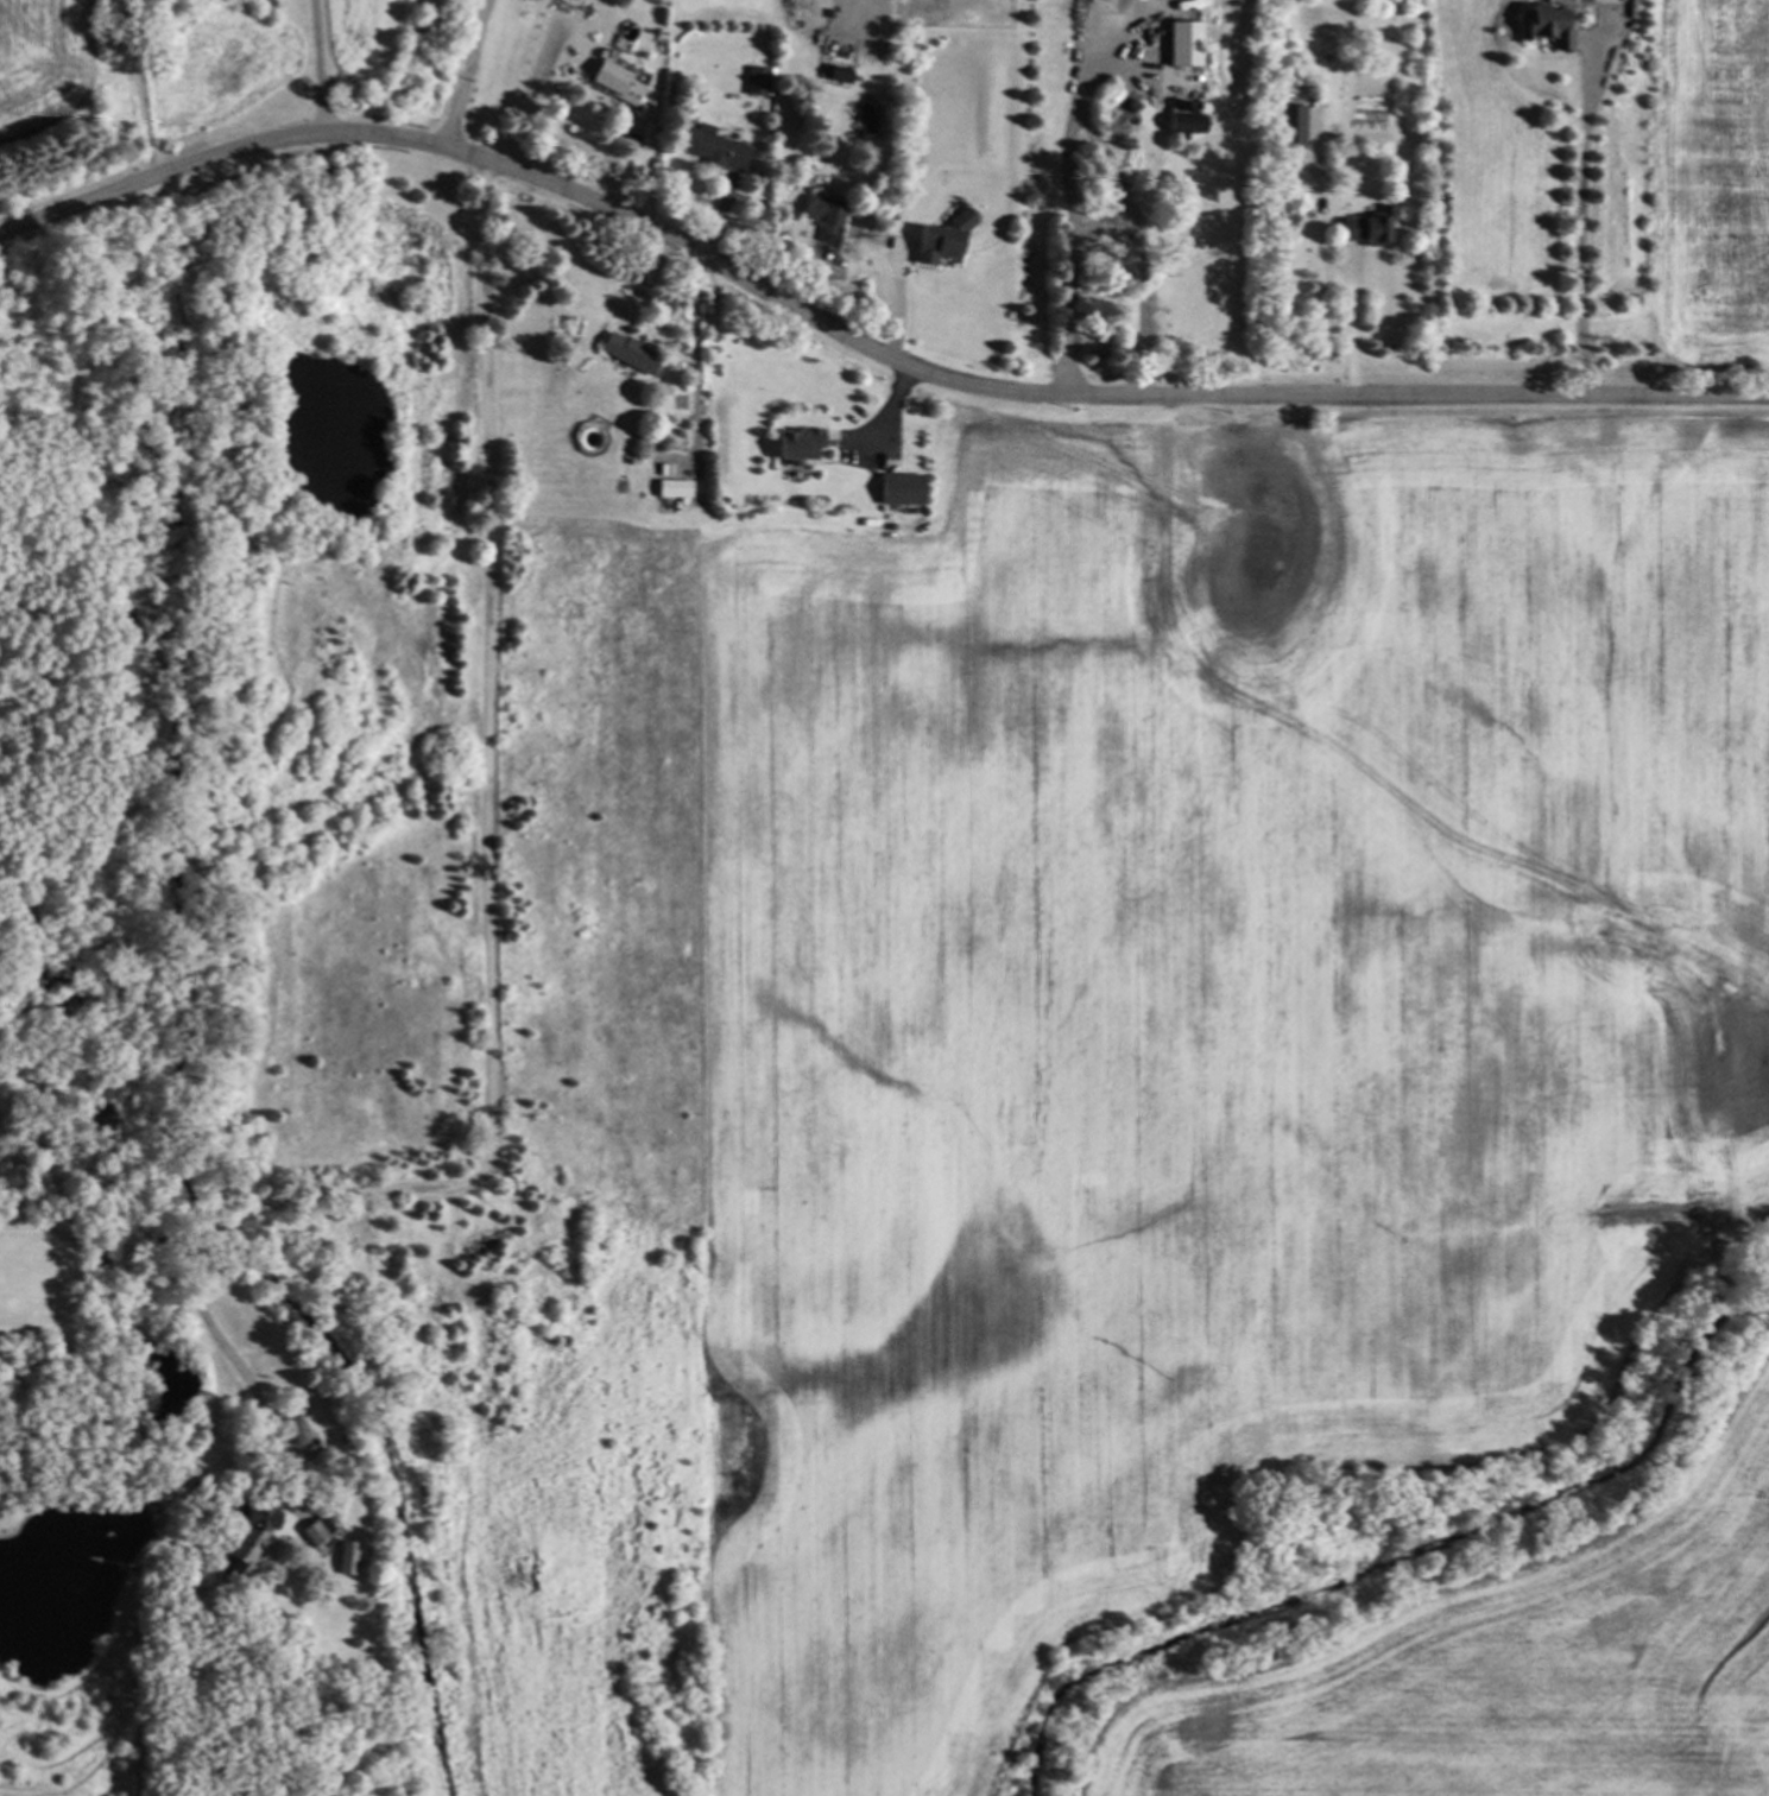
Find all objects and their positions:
building: (1542, 27)
building: (1180, 44)
road: (317, 64)
road: (462, 75)
building: (836, 75)
building: (756, 81)
building: (614, 82)
road: (141, 86)
building: (1182, 122)
building: (1294, 127)
building: (713, 148)
building: (822, 215)
road: (1581, 223)
building: (1364, 229)
road: (1054, 232)
building: (940, 240)
road: (1352, 329)
road: (858, 342)
road: (699, 352)
building: (627, 353)
building: (796, 445)
building: (672, 488)
building: (899, 489)
road: (486, 918)
building: (295, 1430)
building: (315, 1530)
building: (249, 1533)

